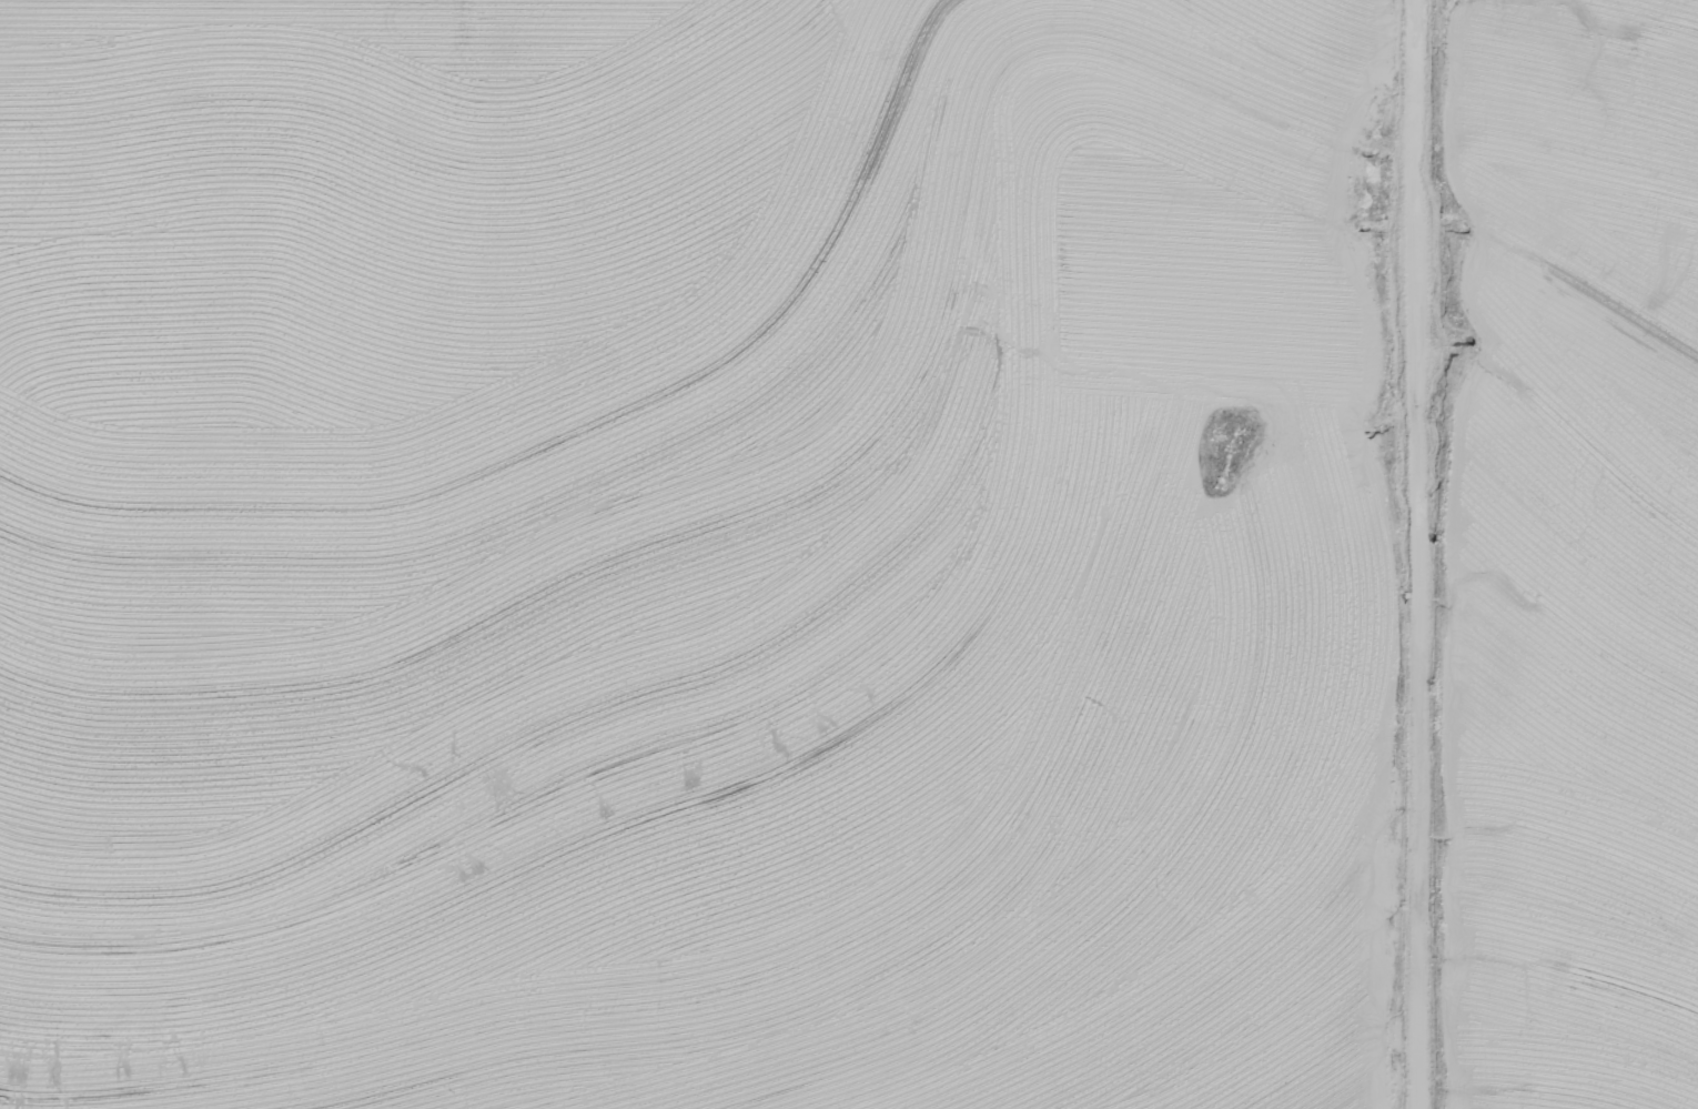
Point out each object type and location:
road: (1421, 554)

